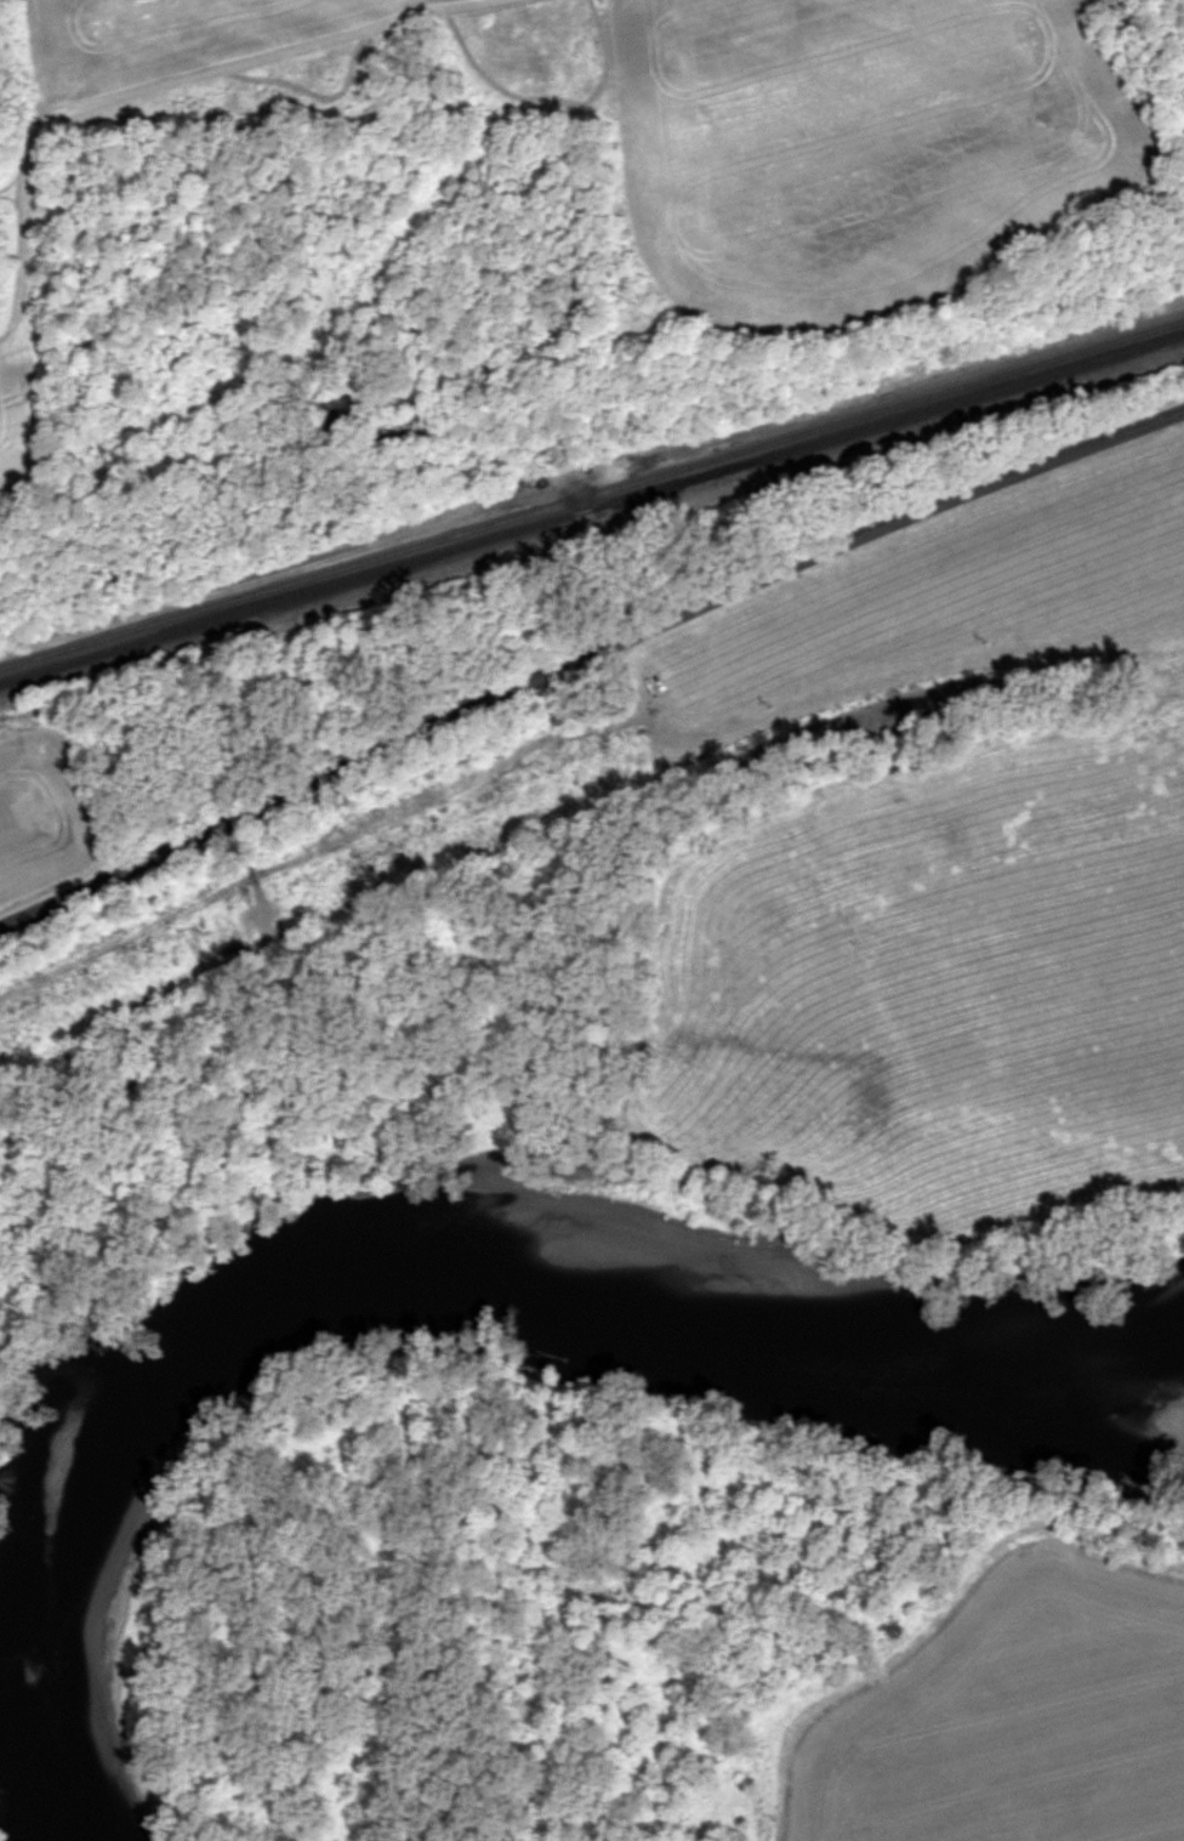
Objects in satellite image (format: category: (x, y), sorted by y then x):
road: (1139, 57)
road: (560, 464)
railway: (591, 507)
road: (587, 658)
crop: (978, 840)
river: (425, 1291)
crop: (1013, 1712)

